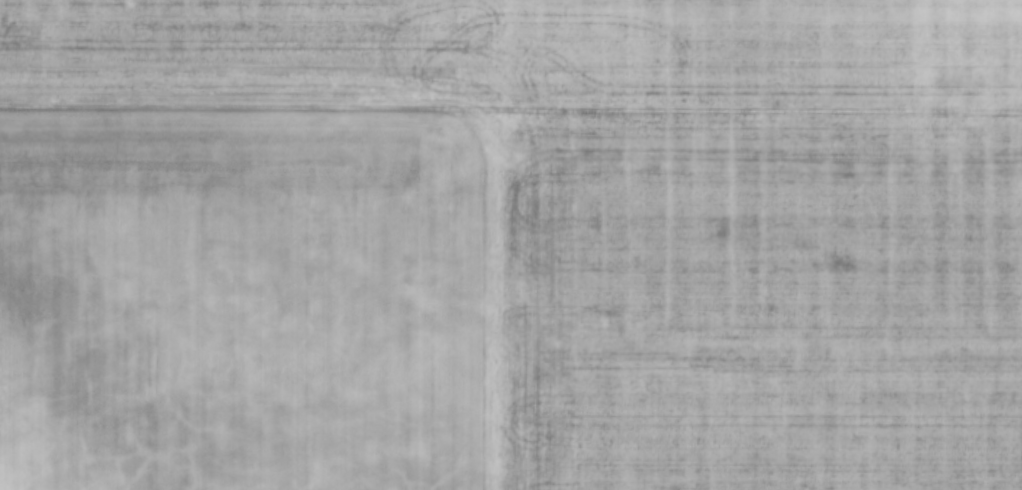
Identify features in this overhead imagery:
road: (511, 107)

